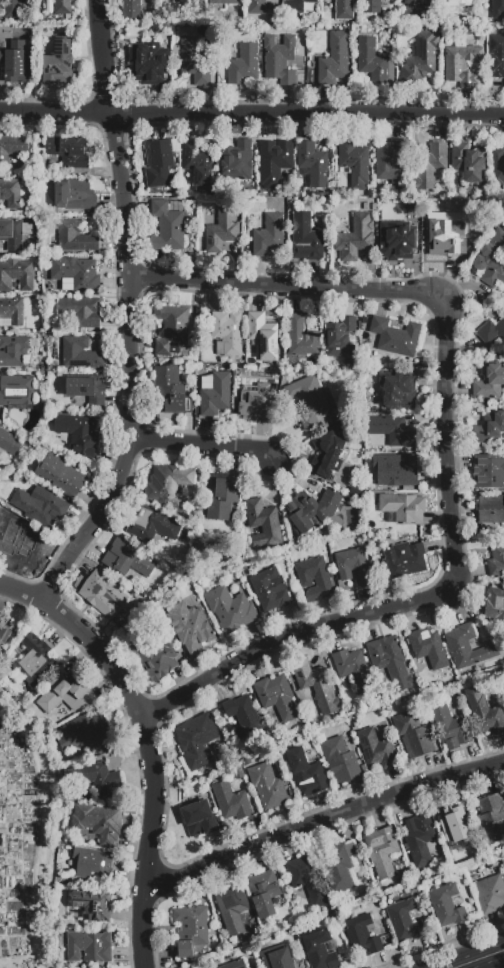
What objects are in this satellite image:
building: (418, 1)
building: (230, 2)
building: (296, 5)
building: (49, 6)
building: (191, 6)
building: (451, 6)
building: (63, 7)
building: (257, 7)
building: (371, 7)
building: (13, 8)
building: (132, 9)
building: (344, 9)
building: (497, 9)
building: (496, 56)
building: (280, 59)
building: (332, 59)
building: (419, 59)
building: (150, 61)
building: (16, 62)
building: (194, 62)
building: (374, 62)
building: (243, 63)
building: (58, 64)
building: (462, 64)
road: (252, 113)
building: (12, 147)
building: (69, 152)
building: (236, 161)
building: (497, 161)
building: (158, 163)
building: (313, 163)
building: (354, 163)
building: (198, 165)
building: (276, 165)
building: (390, 165)
building: (468, 165)
building: (430, 166)
building: (10, 192)
building: (73, 195)
building: (412, 204)
building: (167, 226)
building: (222, 229)
building: (12, 234)
building: (269, 235)
building: (443, 236)
building: (75, 237)
building: (355, 237)
building: (305, 239)
building: (399, 242)
building: (491, 259)
building: (75, 273)
building: (15, 275)
building: (503, 307)
building: (12, 310)
building: (80, 311)
road: (129, 311)
building: (197, 312)
building: (171, 329)
building: (491, 331)
building: (227, 333)
building: (263, 336)
building: (395, 337)
building: (300, 340)
building: (341, 340)
building: (14, 350)
building: (80, 353)
building: (489, 382)
building: (86, 388)
building: (170, 390)
building: (17, 391)
building: (397, 391)
building: (216, 395)
building: (255, 395)
building: (309, 401)
building: (489, 428)
building: (391, 431)
building: (79, 434)
building: (9, 444)
road: (200, 445)
building: (334, 452)
road: (445, 455)
building: (396, 469)
building: (488, 471)
building: (60, 476)
building: (165, 483)
building: (222, 496)
building: (39, 506)
building: (402, 508)
building: (311, 509)
building: (491, 510)
building: (155, 522)
building: (262, 522)
building: (17, 543)
building: (127, 559)
building: (404, 559)
building: (496, 560)
building: (353, 567)
building: (313, 578)
building: (269, 589)
building: (102, 594)
building: (495, 606)
building: (230, 609)
building: (190, 627)
building: (4, 635)
building: (466, 647)
building: (428, 648)
building: (154, 657)
building: (36, 661)
building: (390, 661)
building: (354, 671)
building: (503, 684)
building: (316, 686)
building: (503, 686)
building: (66, 695)
building: (276, 696)
building: (484, 712)
building: (243, 714)
building: (449, 728)
building: (83, 732)
building: (412, 735)
building: (196, 741)
road: (148, 743)
building: (375, 749)
building: (339, 760)
building: (237, 772)
building: (306, 773)
building: (95, 779)
building: (267, 786)
building: (231, 802)
building: (198, 818)
building: (490, 818)
building: (99, 822)
road: (323, 823)
building: (455, 826)
building: (420, 840)
building: (382, 852)
building: (93, 864)
building: (503, 864)
building: (341, 865)
building: (308, 879)
building: (263, 893)
building: (489, 894)
building: (90, 904)
building: (446, 906)
building: (234, 909)
building: (404, 921)
building: (191, 929)
building: (361, 935)
building: (89, 947)
building: (319, 950)
building: (276, 957)
road: (480, 959)
building: (234, 964)
building: (247, 967)

